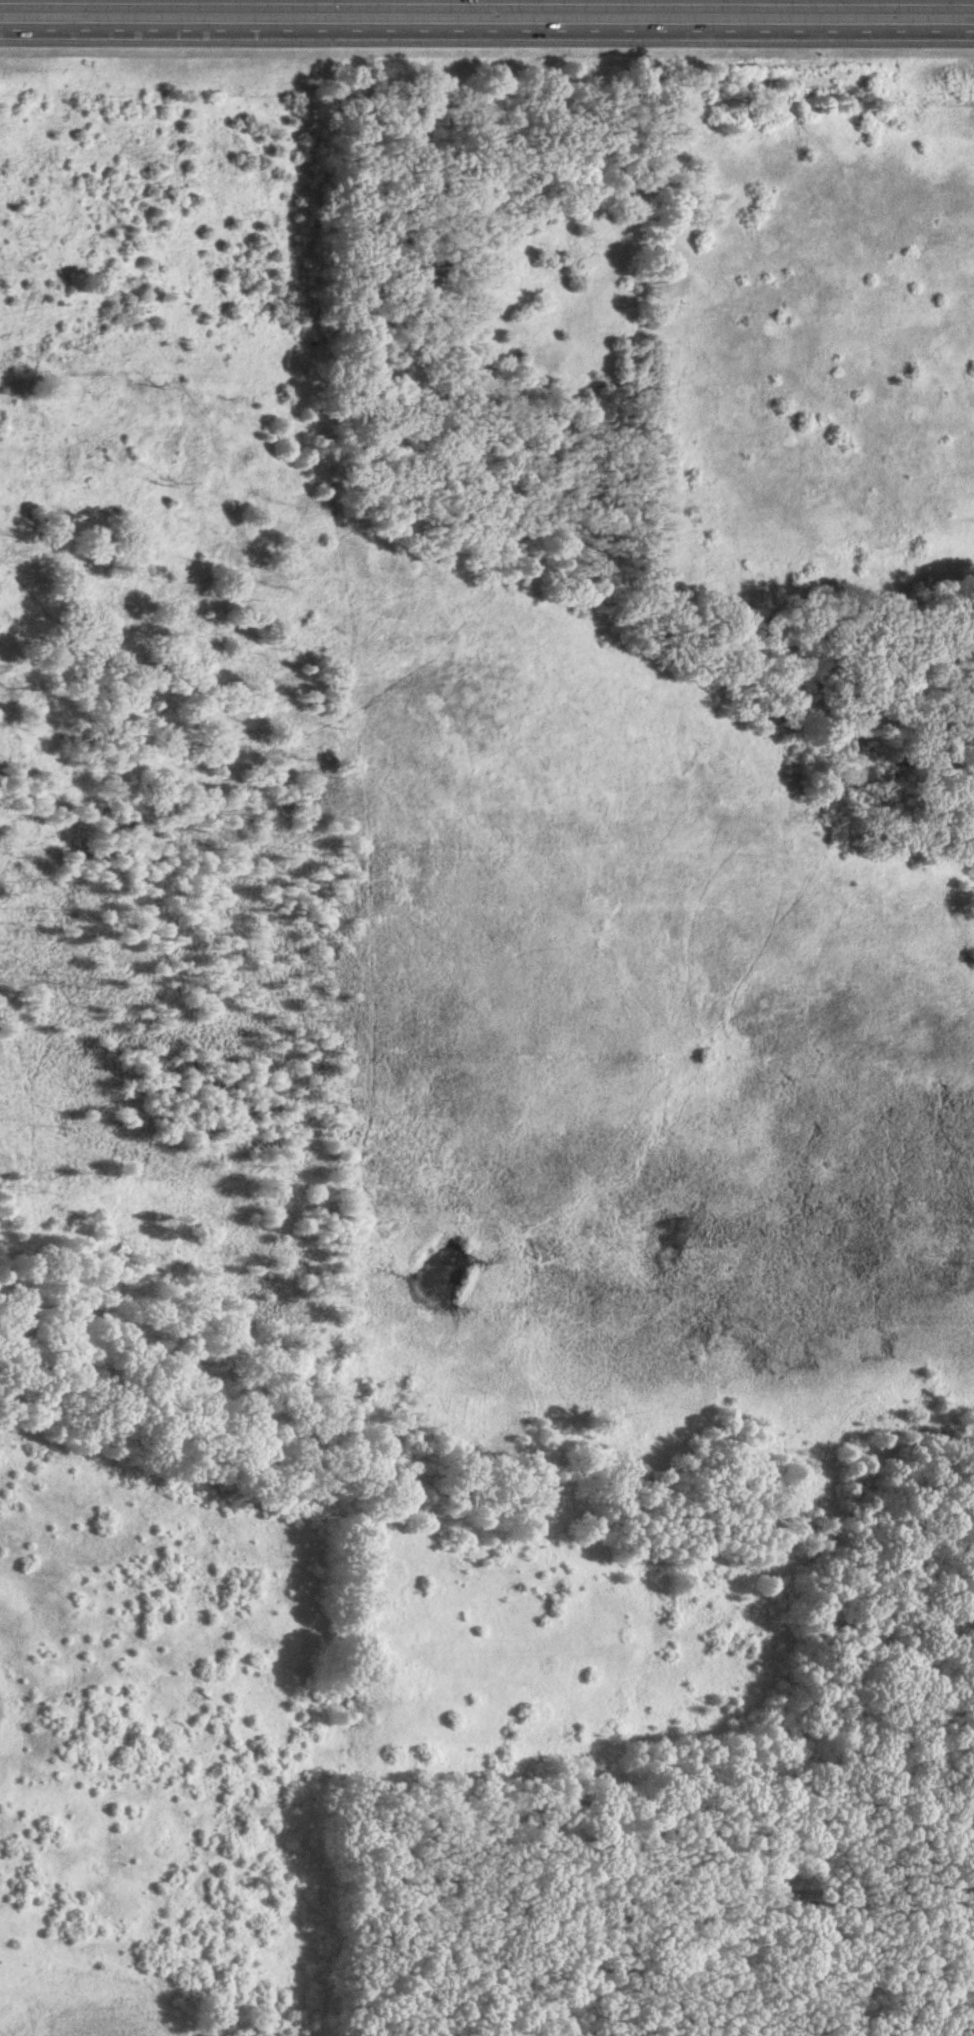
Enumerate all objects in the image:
road: (487, 31)
building: (524, 36)

